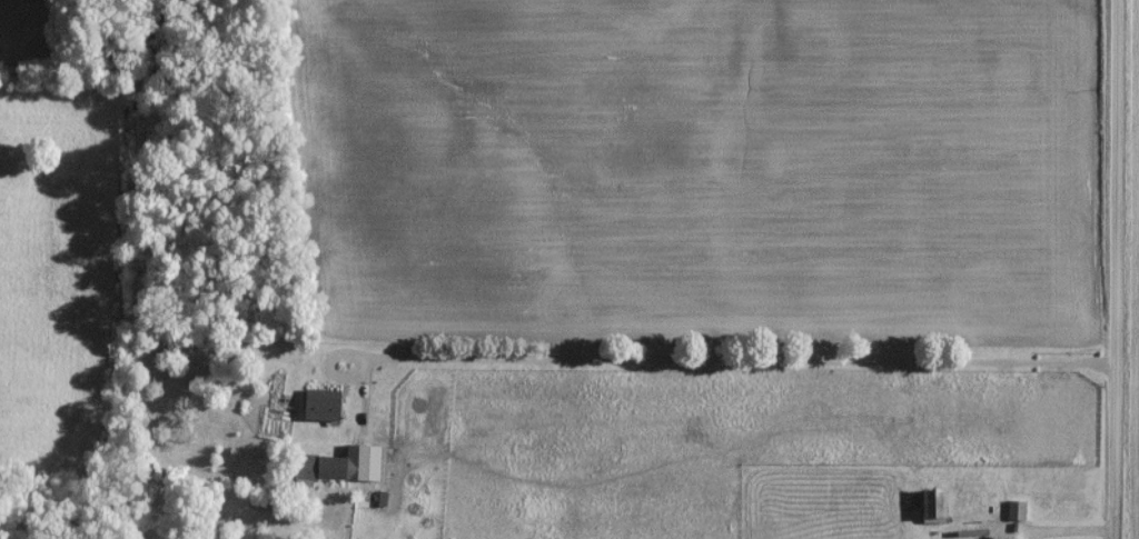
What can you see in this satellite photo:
road: (1117, 269)
road: (737, 362)
building: (321, 411)
building: (318, 475)
building: (1009, 517)

